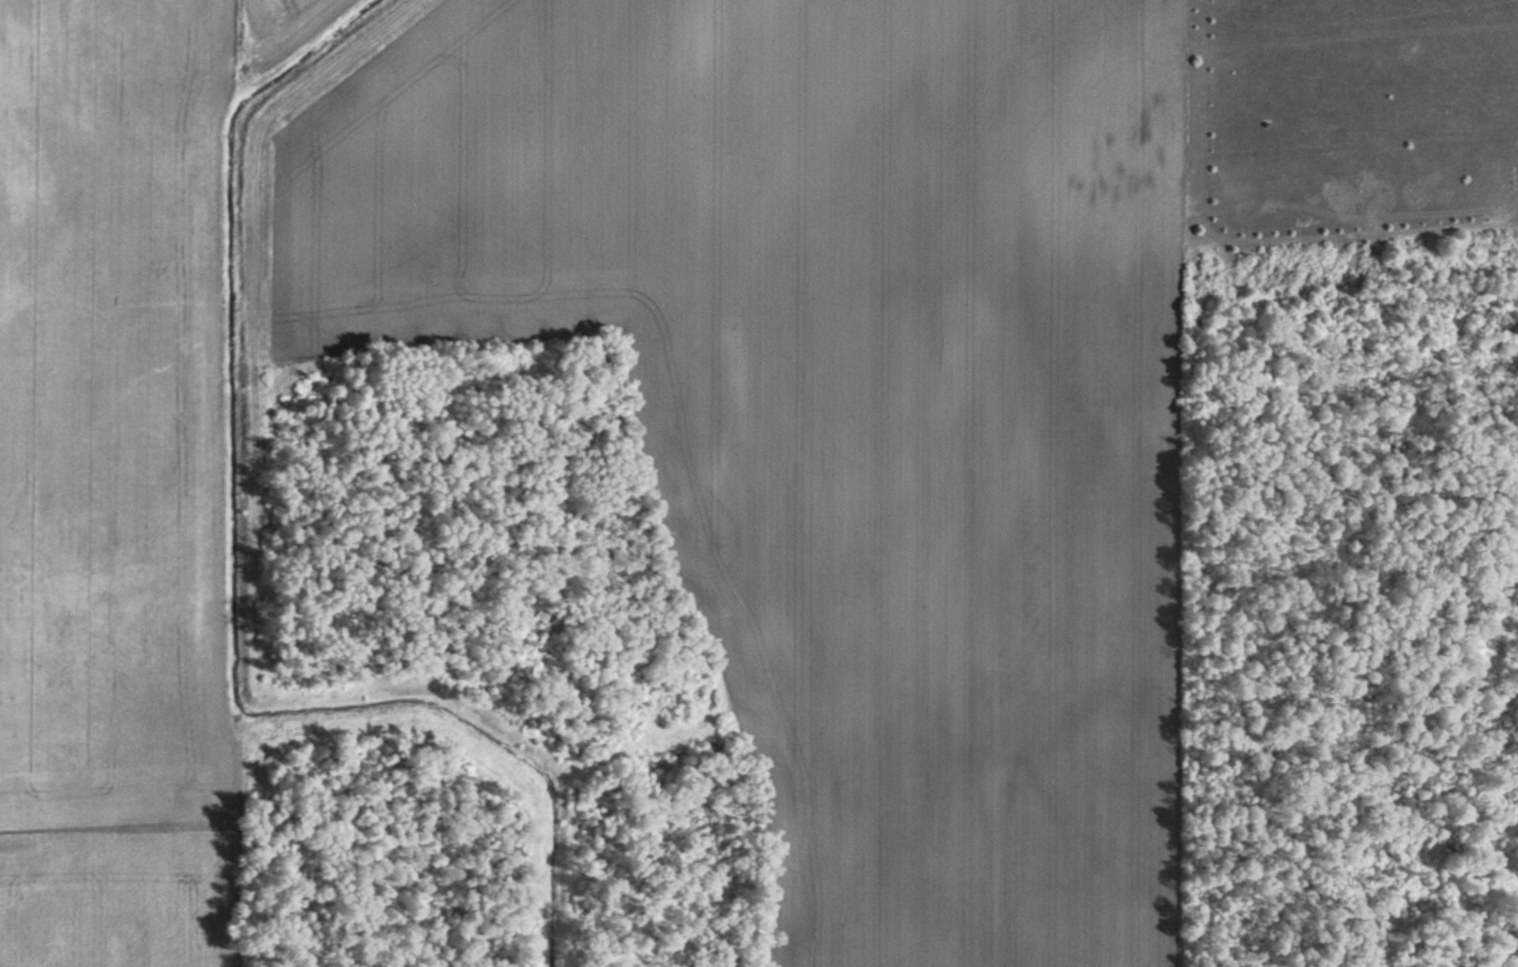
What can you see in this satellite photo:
park: (1349, 621)

